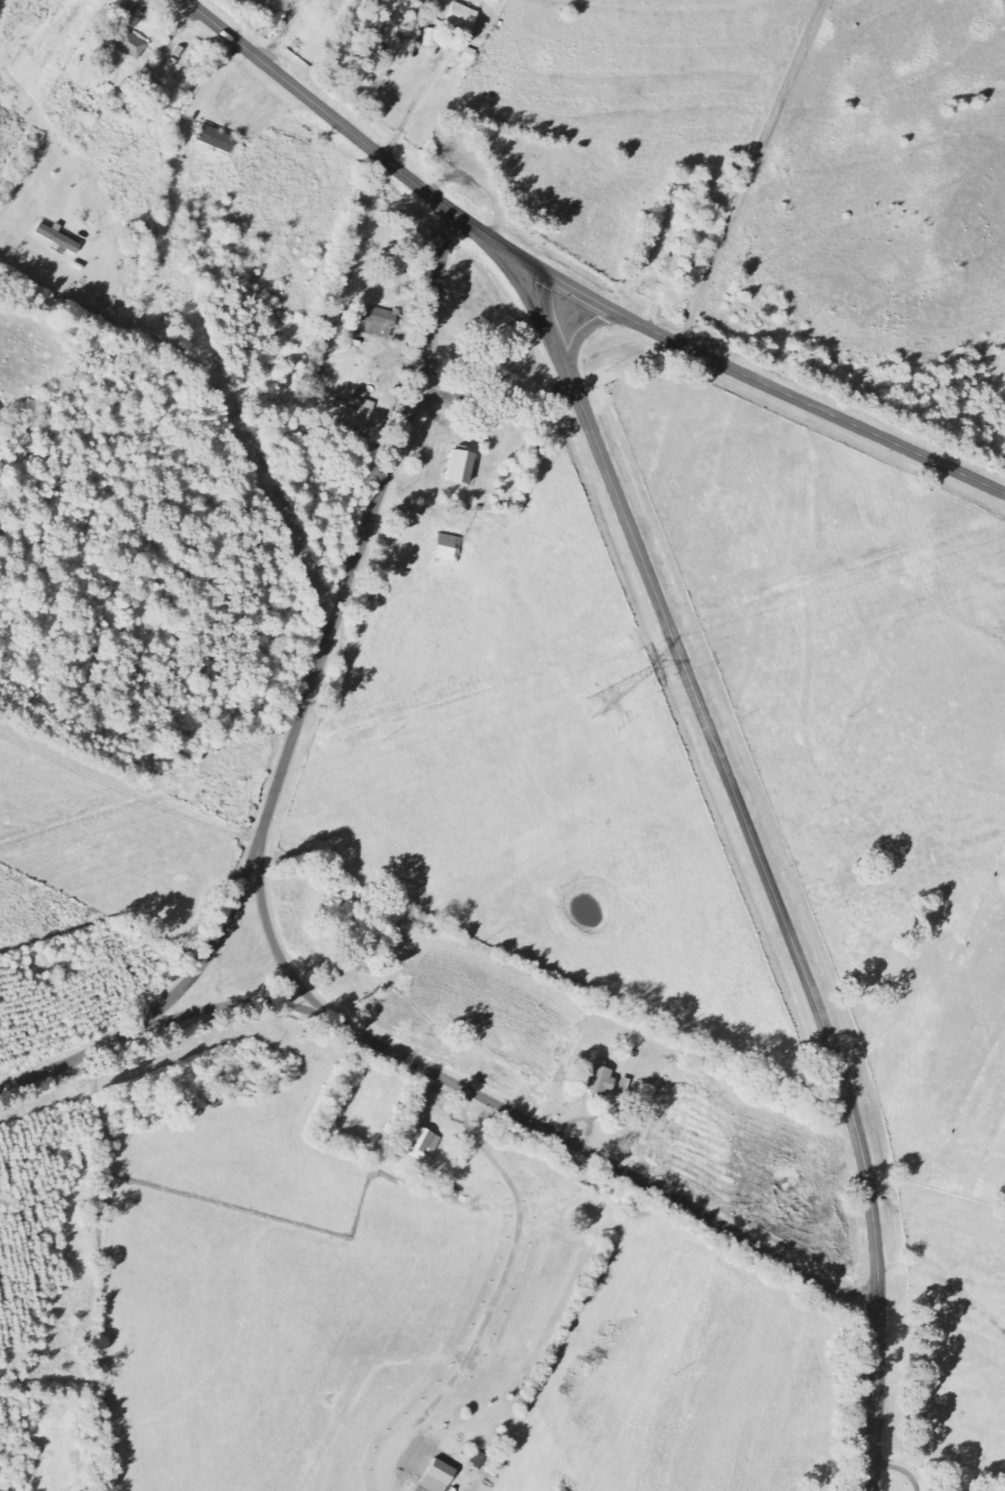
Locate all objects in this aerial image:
building: (117, 4)
building: (465, 17)
building: (129, 43)
building: (472, 54)
building: (219, 139)
road: (672, 175)
building: (59, 239)
road: (571, 286)
building: (382, 323)
building: (359, 407)
building: (463, 468)
building: (451, 548)
power tower: (599, 707)
road: (314, 727)
road: (762, 866)
building: (604, 1080)
building: (425, 1144)
road: (543, 1160)
building: (441, 1476)

